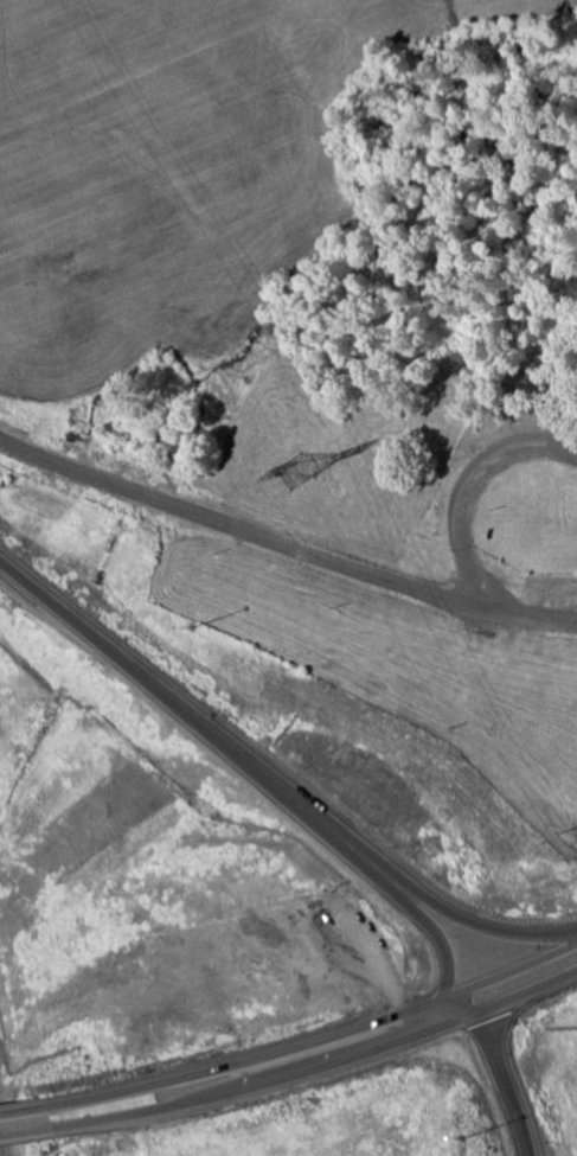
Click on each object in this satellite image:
power tower: (294, 474)
road: (467, 498)
road: (284, 544)
road: (271, 774)
road: (434, 933)
road: (316, 1045)
road: (319, 1067)
road: (498, 1074)
road: (23, 1113)
road: (25, 1133)

